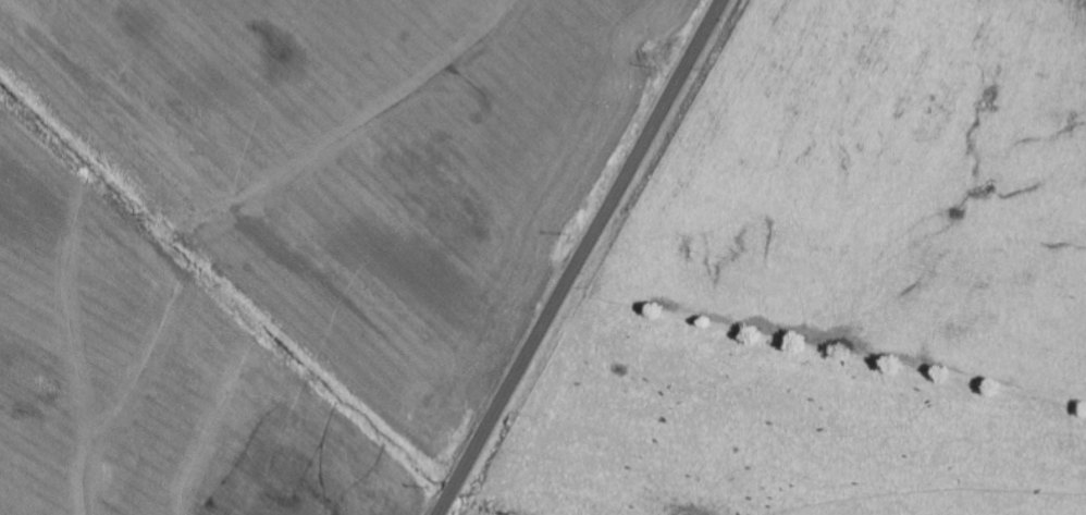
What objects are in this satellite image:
road: (581, 257)

